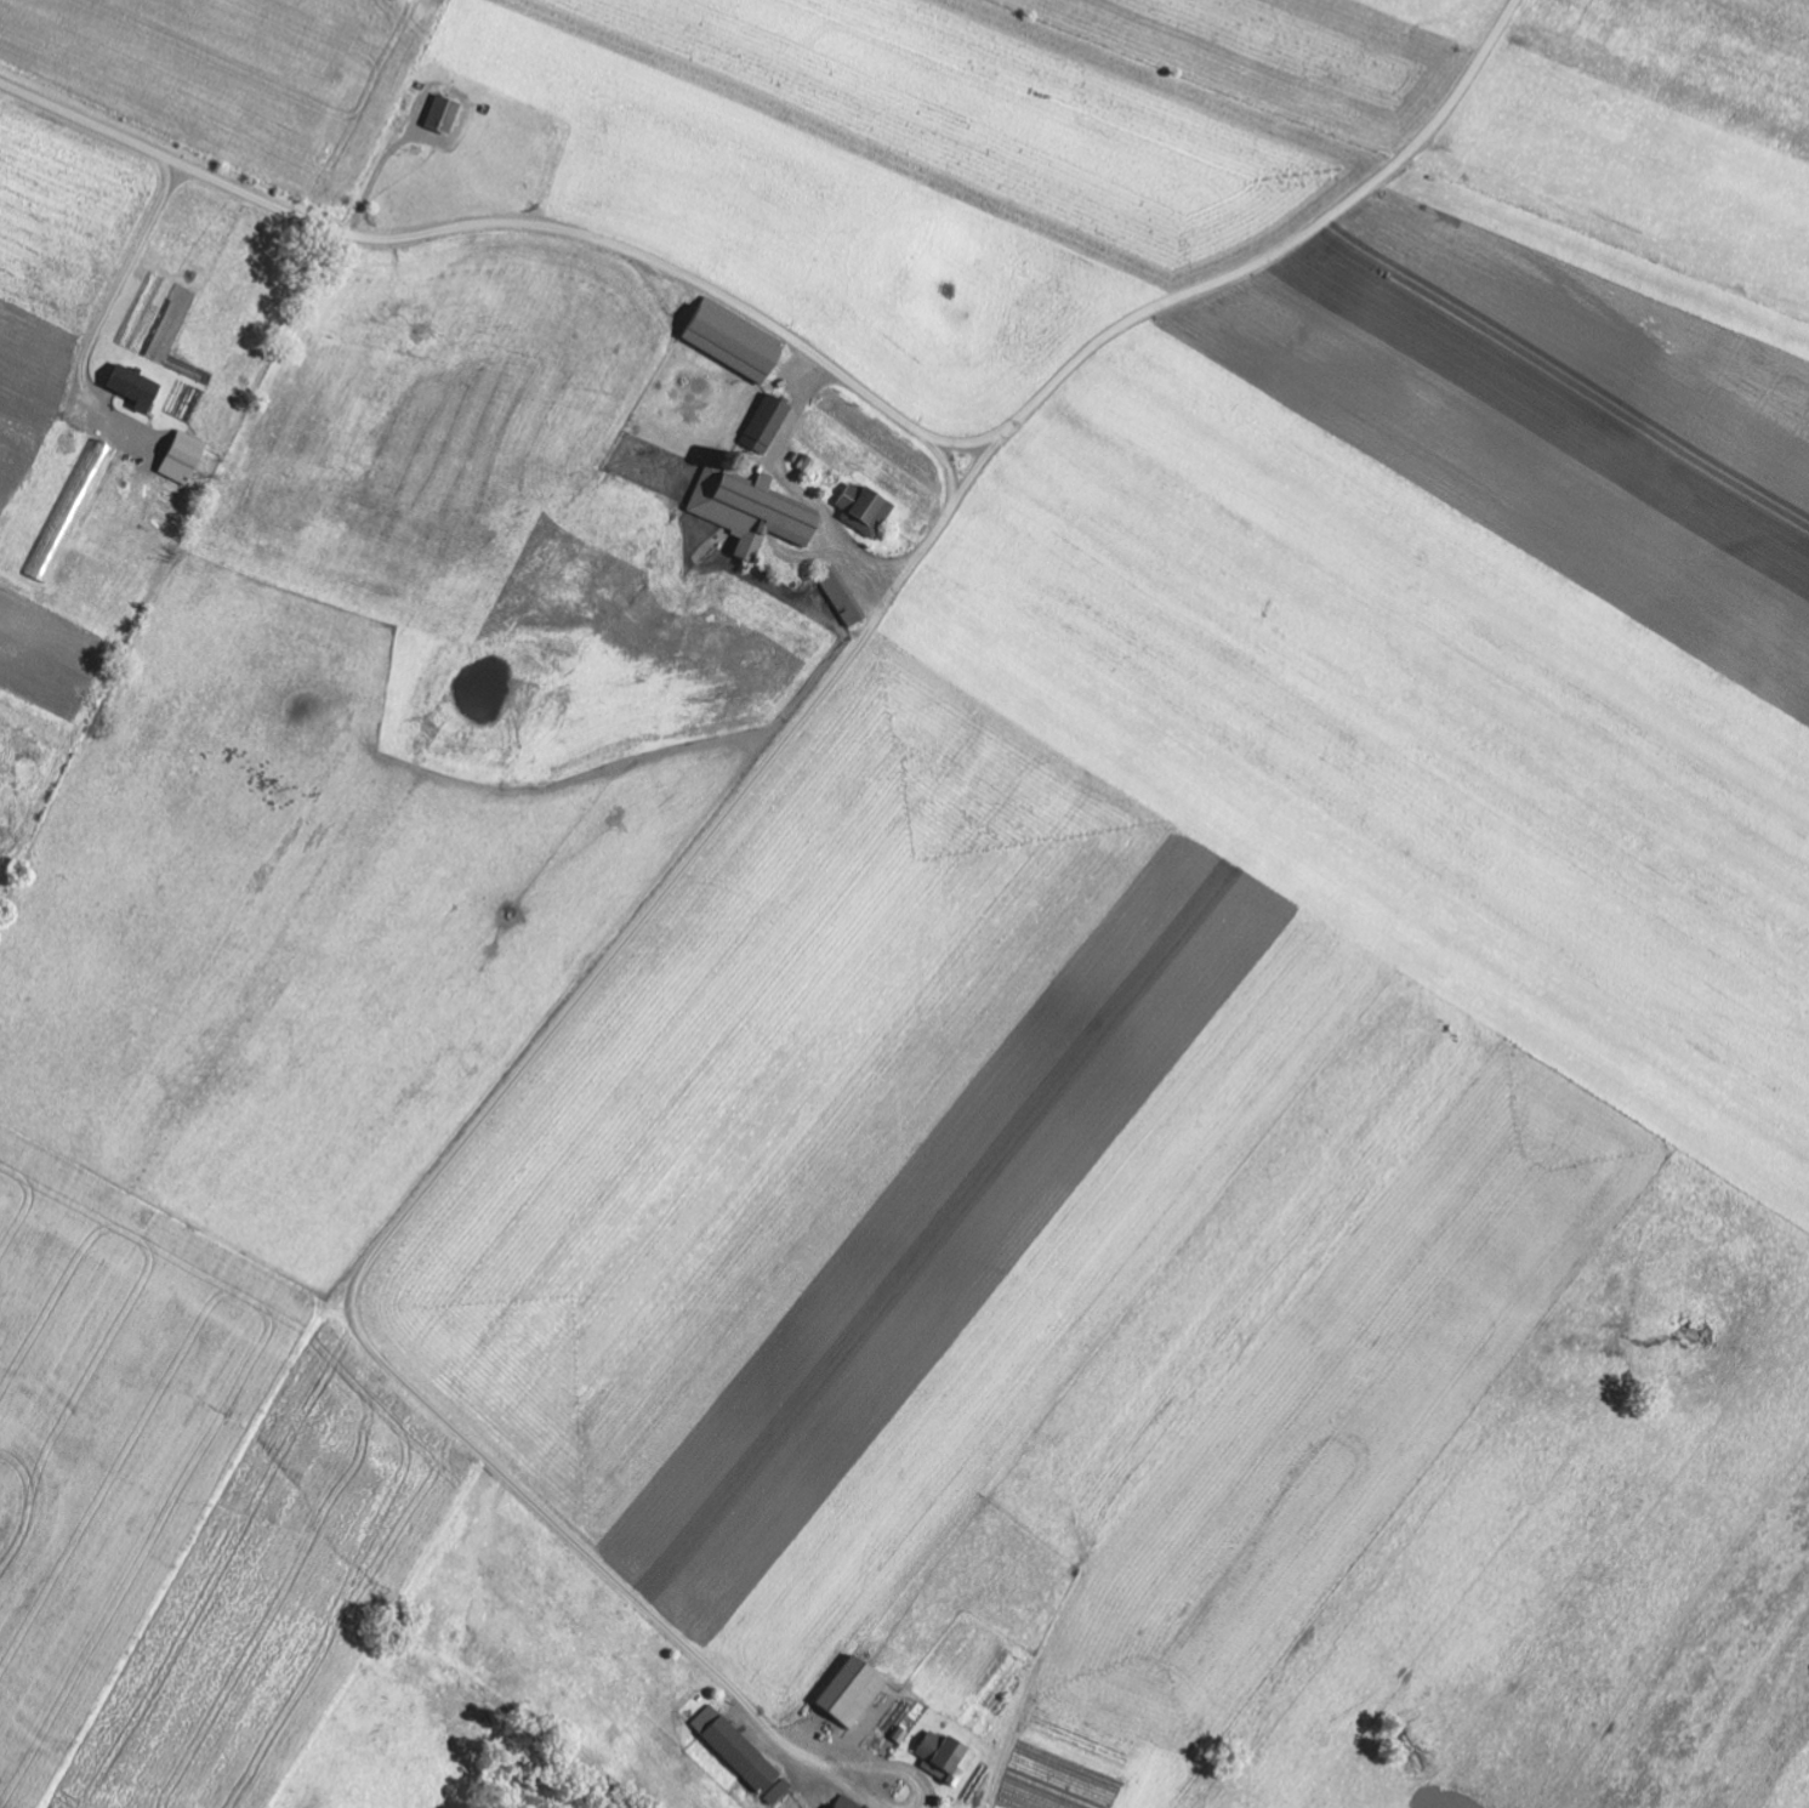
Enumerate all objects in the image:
building: (445, 116)
building: (402, 125)
building: (138, 390)
building: (768, 426)
road: (923, 434)
building: (186, 460)
building: (866, 511)
building: (72, 512)
building: (755, 513)
building: (843, 598)
building: (854, 1692)
building: (743, 1756)
building: (847, 1804)

